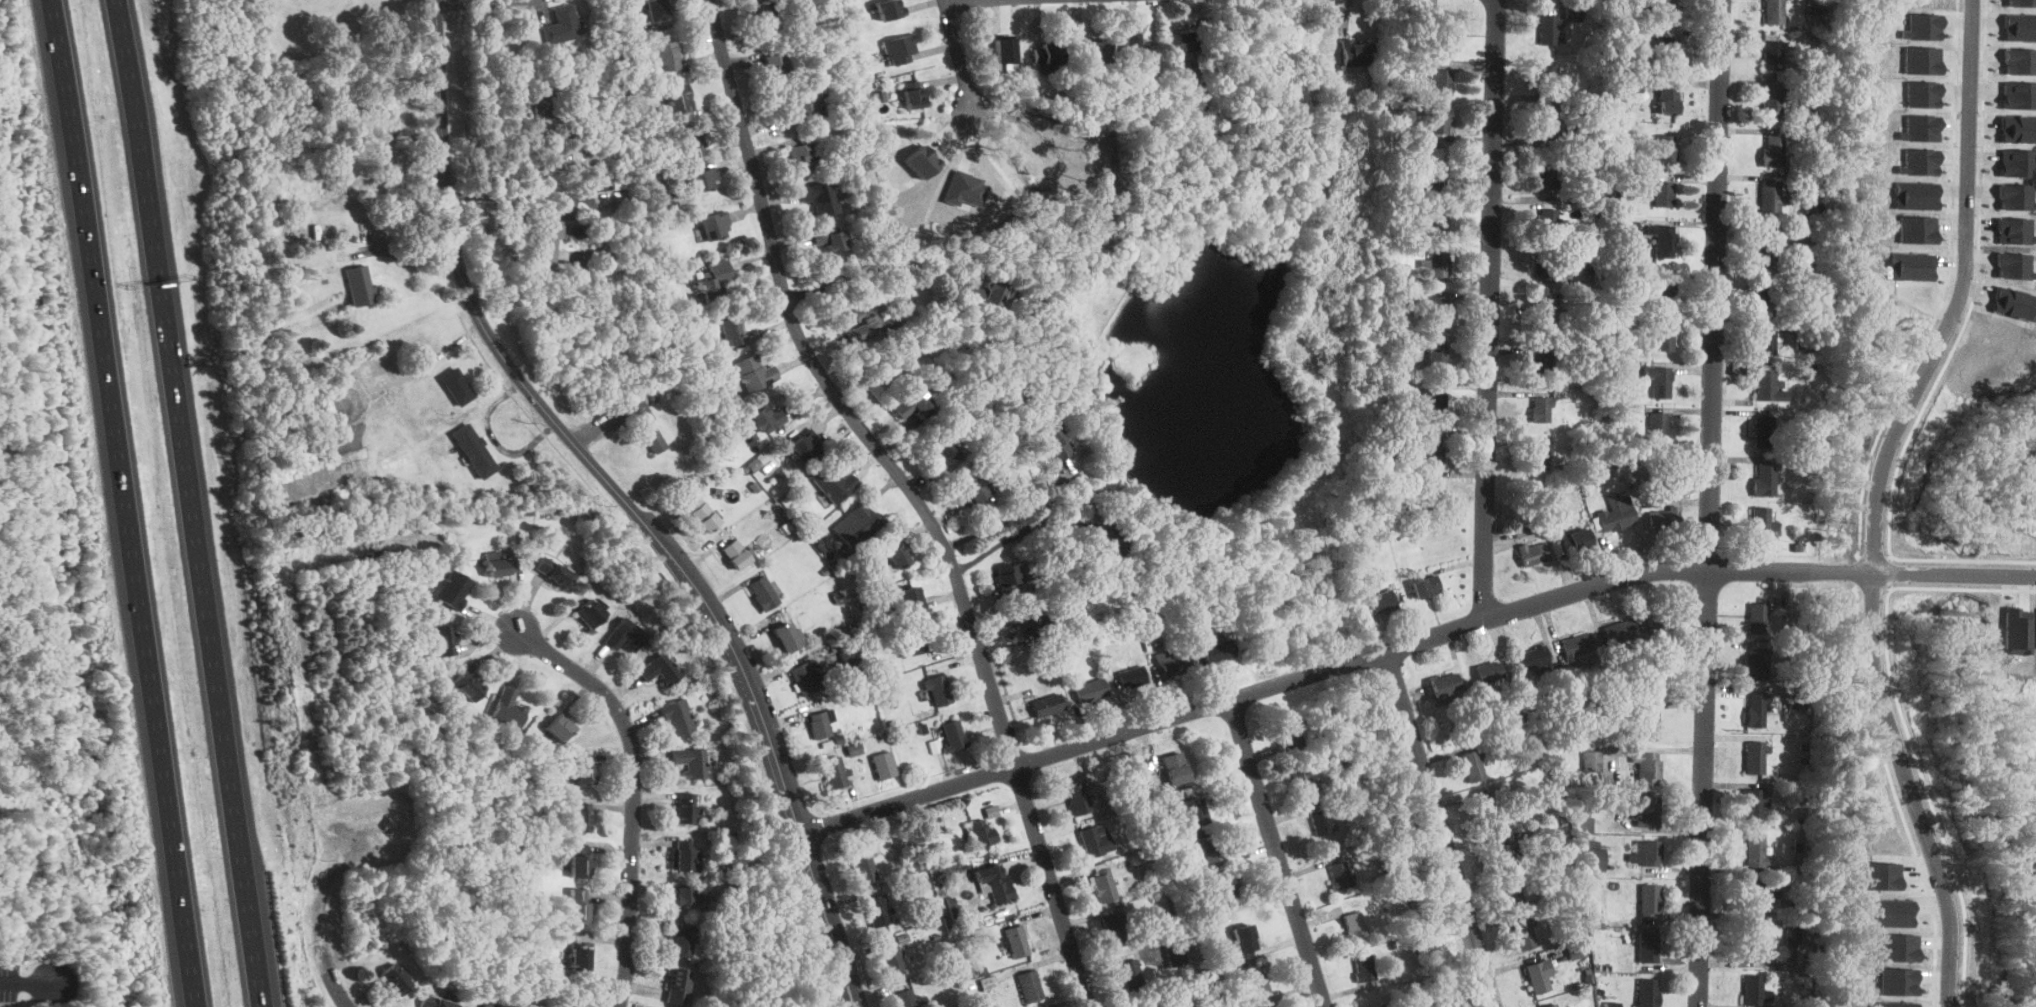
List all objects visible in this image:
road: (968, 2)
road: (484, 3)
building: (2020, 3)
building: (887, 9)
building: (1662, 10)
building: (656, 11)
building: (1573, 11)
building: (1773, 11)
building: (764, 16)
building: (561, 24)
building: (1921, 26)
building: (1548, 28)
building: (2018, 30)
building: (1449, 37)
building: (1179, 41)
building: (898, 49)
building: (1095, 50)
building: (1135, 50)
building: (1047, 52)
building: (1666, 52)
building: (1357, 53)
building: (1771, 53)
building: (665, 55)
road: (956, 55)
building: (1920, 60)
building: (2018, 60)
building: (774, 64)
building: (1548, 80)
building: (1440, 81)
building: (913, 93)
building: (1921, 93)
building: (2018, 95)
building: (678, 98)
building: (1669, 99)
building: (542, 102)
building: (1771, 102)
building: (800, 107)
building: (1439, 118)
building: (1545, 126)
building: (1918, 128)
building: (2017, 130)
building: (694, 139)
building: (1664, 147)
building: (1773, 150)
building: (801, 160)
building: (1917, 161)
building: (2017, 162)
road: (501, 176)
building: (1435, 176)
building: (1546, 176)
building: (704, 178)
building: (1663, 193)
road: (559, 194)
building: (1915, 194)
building: (1771, 195)
building: (2016, 196)
building: (819, 197)
building: (1435, 216)
building: (1547, 220)
building: (716, 224)
building: (1916, 229)
building: (2015, 230)
building: (830, 237)
building: (1663, 238)
building: (546, 240)
building: (1768, 243)
building: (1438, 260)
road: (883, 267)
building: (1908, 267)
building: (1544, 269)
building: (714, 276)
building: (359, 284)
road: (465, 288)
building: (1665, 290)
building: (1765, 290)
building: (985, 294)
road: (1959, 294)
building: (1436, 307)
road: (1488, 308)
building: (1541, 317)
building: (870, 321)
building: (730, 331)
building: (1765, 338)
building: (1662, 340)
building: (1436, 354)
building: (1540, 365)
building: (754, 372)
building: (1660, 380)
building: (1765, 384)
building: (457, 385)
building: (1434, 400)
building: (913, 403)
building: (1541, 408)
building: (766, 418)
building: (648, 426)
building: (1659, 428)
building: (1763, 431)
building: (1052, 437)
building: (806, 443)
building: (1432, 447)
building: (942, 449)
building: (474, 450)
building: (1539, 456)
building: (759, 460)
building: (1764, 478)
building: (834, 483)
building: (970, 488)
building: (1432, 489)
road: (913, 494)
building: (1552, 496)
road: (126, 503)
road: (193, 503)
road: (1707, 503)
building: (699, 509)
building: (1616, 512)
building: (1670, 515)
road: (1007, 520)
building: (1760, 521)
building: (855, 524)
building: (1577, 540)
road: (1003, 541)
building: (1533, 552)
building: (736, 553)
building: (897, 555)
building: (500, 563)
building: (553, 570)
building: (1008, 577)
building: (1426, 586)
building: (454, 588)
building: (763, 593)
building: (912, 597)
building: (1381, 600)
building: (590, 613)
building: (1018, 613)
building: (1028, 618)
building: (1757, 618)
building: (1658, 621)
building: (2035, 628)
building: (2013, 630)
building: (1619, 631)
building: (625, 634)
building: (786, 637)
building: (445, 639)
road: (1409, 639)
building: (913, 643)
building: (1576, 643)
building: (1215, 650)
building: (849, 654)
building: (1533, 658)
building: (1757, 660)
building: (1171, 662)
building: (659, 668)
building: (1490, 671)
building: (807, 677)
building: (1133, 677)
building: (468, 684)
building: (1446, 684)
building: (938, 689)
building: (1089, 690)
building: (1046, 703)
building: (1796, 706)
building: (507, 707)
building: (1758, 709)
building: (677, 717)
building: (1646, 723)
building: (819, 724)
building: (559, 728)
building: (1289, 729)
building: (954, 734)
road: (776, 748)
building: (854, 749)
building: (1755, 757)
building: (1591, 760)
building: (690, 761)
building: (883, 764)
building: (1473, 765)
building: (1647, 767)
building: (584, 768)
building: (1174, 768)
building: (834, 772)
building: (1302, 780)
road: (1909, 789)
road: (634, 792)
building: (1079, 798)
building: (1756, 805)
building: (686, 807)
building: (1487, 808)
building: (1193, 811)
building: (1646, 812)
building: (581, 817)
building: (1583, 819)
building: (1320, 822)
road: (1437, 827)
building: (982, 832)
building: (1095, 840)
building: (579, 848)
building: (1210, 848)
building: (1500, 849)
building: (1756, 851)
road: (1276, 852)
building: (1647, 853)
building: (682, 855)
building: (1592, 856)
building: (581, 865)
building: (863, 866)
building: (1339, 875)
building: (1881, 875)
road: (310, 881)
building: (995, 881)
building: (1103, 884)
building: (1511, 891)
building: (1229, 892)
building: (683, 897)
building: (1754, 897)
building: (1650, 901)
building: (580, 905)
building: (876, 910)
building: (1891, 912)
building: (1355, 925)
building: (1116, 930)
road: (388, 932)
building: (1523, 934)
building: (1792, 934)
building: (1243, 938)
building: (1755, 942)
building: (681, 943)
building: (1014, 943)
building: (1647, 947)
building: (1899, 947)
building: (1574, 950)
building: (1174, 954)
building: (580, 959)
building: (891, 959)
building: (1364, 967)
building: (1131, 975)
building: (1538, 975)
building: (395, 979)
building: (1898, 981)
road: (27, 982)
building: (678, 985)
building: (1029, 987)
building: (1257, 988)
building: (1750, 990)
building: (1648, 993)
building: (909, 999)
building: (436, 1001)
building: (489, 1004)
building: (1612, 1004)
building: (1898, 1004)
building: (476, 1005)
building: (1551, 1005)
building: (468, 1006)
building: (519, 1006)
building: (1148, 1006)
building: (1379, 1006)

